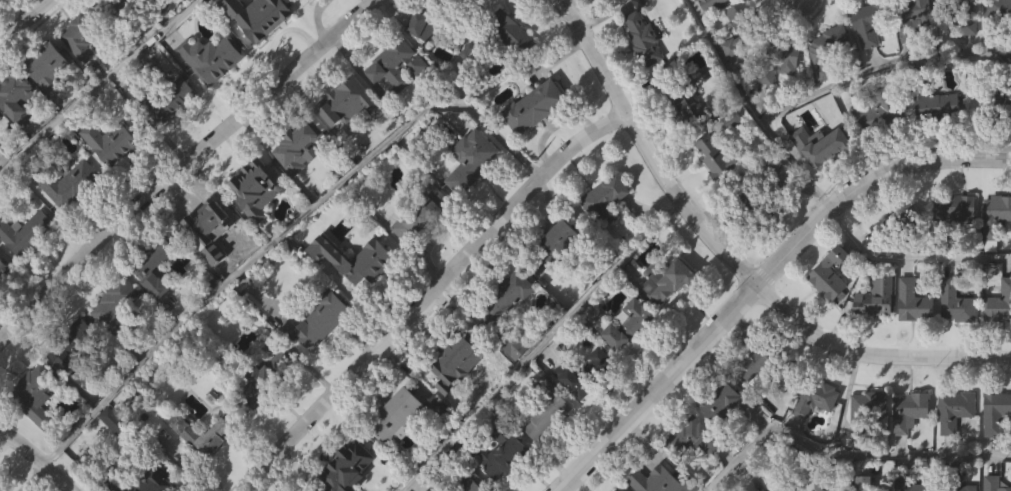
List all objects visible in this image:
building: (342, 0)
building: (451, 0)
building: (710, 4)
building: (15, 10)
building: (182, 10)
building: (601, 13)
building: (312, 16)
building: (914, 16)
building: (998, 16)
building: (146, 17)
building: (964, 17)
building: (263, 18)
road: (24, 21)
building: (870, 21)
building: (424, 25)
building: (720, 27)
building: (744, 27)
building: (443, 29)
building: (513, 31)
building: (2, 32)
building: (83, 32)
building: (643, 34)
building: (835, 41)
building: (114, 43)
building: (996, 48)
building: (212, 57)
building: (910, 58)
building: (262, 59)
building: (784, 60)
building: (397, 61)
building: (47, 65)
building: (420, 67)
building: (866, 67)
building: (510, 74)
building: (80, 79)
building: (642, 81)
building: (828, 83)
road: (96, 86)
road: (820, 92)
building: (16, 96)
building: (782, 96)
building: (681, 97)
building: (933, 97)
building: (165, 98)
building: (343, 98)
building: (211, 99)
building: (464, 101)
building: (535, 105)
building: (995, 105)
building: (395, 106)
building: (881, 109)
building: (48, 111)
building: (0, 115)
building: (764, 118)
building: (16, 139)
building: (299, 139)
building: (110, 142)
building: (171, 144)
building: (347, 144)
building: (822, 145)
building: (997, 145)
building: (934, 148)
building: (533, 149)
road: (649, 149)
building: (686, 152)
building: (717, 157)
building: (875, 157)
building: (0, 158)
building: (472, 160)
road: (183, 165)
road: (913, 167)
building: (69, 183)
building: (110, 184)
building: (819, 187)
building: (298, 188)
building: (258, 189)
building: (606, 197)
building: (713, 198)
building: (471, 200)
building: (749, 201)
building: (954, 209)
building: (421, 212)
building: (204, 219)
building: (995, 219)
building: (899, 222)
building: (68, 225)
road: (281, 228)
building: (255, 229)
building: (25, 231)
building: (569, 235)
building: (603, 239)
building: (746, 242)
road: (793, 249)
building: (952, 251)
road: (911, 257)
building: (994, 257)
building: (356, 259)
building: (417, 260)
building: (203, 261)
building: (157, 263)
building: (4, 267)
building: (886, 267)
building: (831, 273)
building: (559, 278)
building: (669, 281)
road: (427, 294)
building: (877, 296)
building: (507, 297)
building: (354, 300)
building: (916, 301)
building: (114, 302)
building: (959, 302)
building: (999, 303)
building: (3, 309)
building: (153, 309)
building: (828, 316)
building: (319, 319)
building: (665, 322)
building: (627, 323)
building: (503, 340)
building: (874, 340)
road: (539, 344)
building: (912, 344)
building: (76, 345)
building: (516, 345)
building: (951, 345)
building: (117, 346)
building: (1001, 351)
road: (873, 354)
building: (461, 360)
building: (316, 362)
building: (626, 366)
building: (753, 366)
building: (589, 372)
building: (267, 377)
building: (71, 385)
road: (657, 386)
building: (515, 388)
building: (35, 395)
building: (817, 397)
building: (722, 401)
building: (597, 403)
building: (459, 405)
building: (752, 408)
building: (868, 409)
building: (956, 409)
building: (910, 410)
building: (548, 411)
building: (996, 412)
building: (403, 414)
building: (266, 418)
building: (571, 422)
building: (118, 424)
building: (205, 434)
building: (696, 436)
building: (36, 438)
building: (813, 440)
building: (720, 444)
building: (436, 448)
building: (867, 448)
building: (499, 449)
road: (841, 450)
building: (908, 453)
building: (953, 453)
building: (546, 454)
building: (994, 454)
building: (395, 456)
road: (37, 458)
building: (113, 463)
building: (344, 464)
building: (663, 478)
building: (691, 478)
building: (138, 480)
building: (505, 481)
building: (465, 482)
building: (823, 482)
building: (865, 482)
building: (910, 483)
building: (995, 483)
building: (957, 484)
building: (354, 487)
building: (436, 487)
building: (780, 488)
building: (0, 490)
building: (614, 490)

